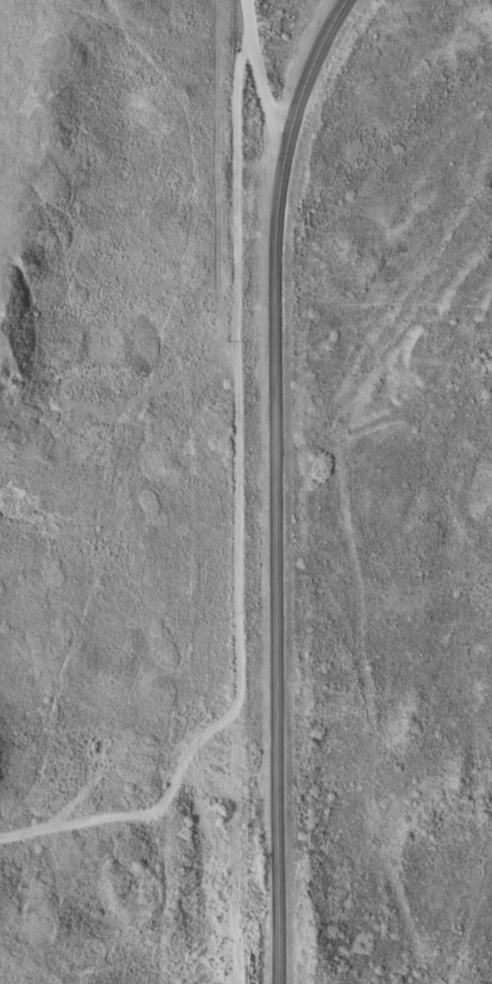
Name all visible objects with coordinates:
road: (253, 69)
road: (273, 485)

